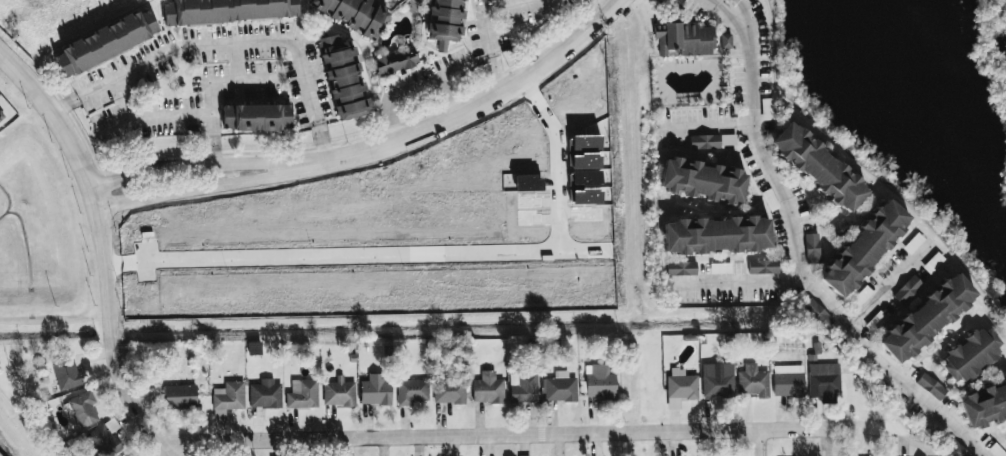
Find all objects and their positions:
road: (610, 2)
building: (222, 10)
building: (354, 14)
building: (444, 22)
road: (484, 23)
building: (684, 39)
building: (725, 41)
building: (105, 42)
road: (226, 45)
building: (395, 60)
road: (236, 63)
building: (341, 74)
road: (241, 81)
road: (403, 90)
road: (448, 96)
road: (469, 111)
building: (1, 117)
building: (255, 117)
road: (150, 118)
road: (209, 123)
road: (708, 129)
building: (704, 142)
road: (186, 166)
building: (818, 167)
road: (76, 171)
building: (702, 181)
road: (191, 189)
building: (716, 235)
road: (795, 248)
building: (811, 248)
building: (864, 248)
building: (763, 267)
building: (720, 268)
building: (680, 269)
road: (733, 283)
road: (888, 286)
building: (907, 289)
building: (861, 296)
building: (816, 313)
building: (927, 318)
building: (971, 356)
building: (65, 371)
building: (788, 381)
building: (752, 382)
building: (823, 382)
building: (599, 383)
building: (716, 383)
building: (930, 387)
road: (124, 388)
building: (523, 388)
building: (559, 388)
building: (680, 388)
building: (487, 389)
building: (375, 390)
building: (411, 392)
building: (449, 392)
building: (338, 393)
building: (264, 394)
building: (180, 395)
building: (302, 395)
building: (228, 396)
building: (984, 405)
building: (82, 409)
building: (219, 415)
road: (530, 434)
building: (104, 439)
road: (753, 443)
building: (955, 449)
building: (127, 455)

